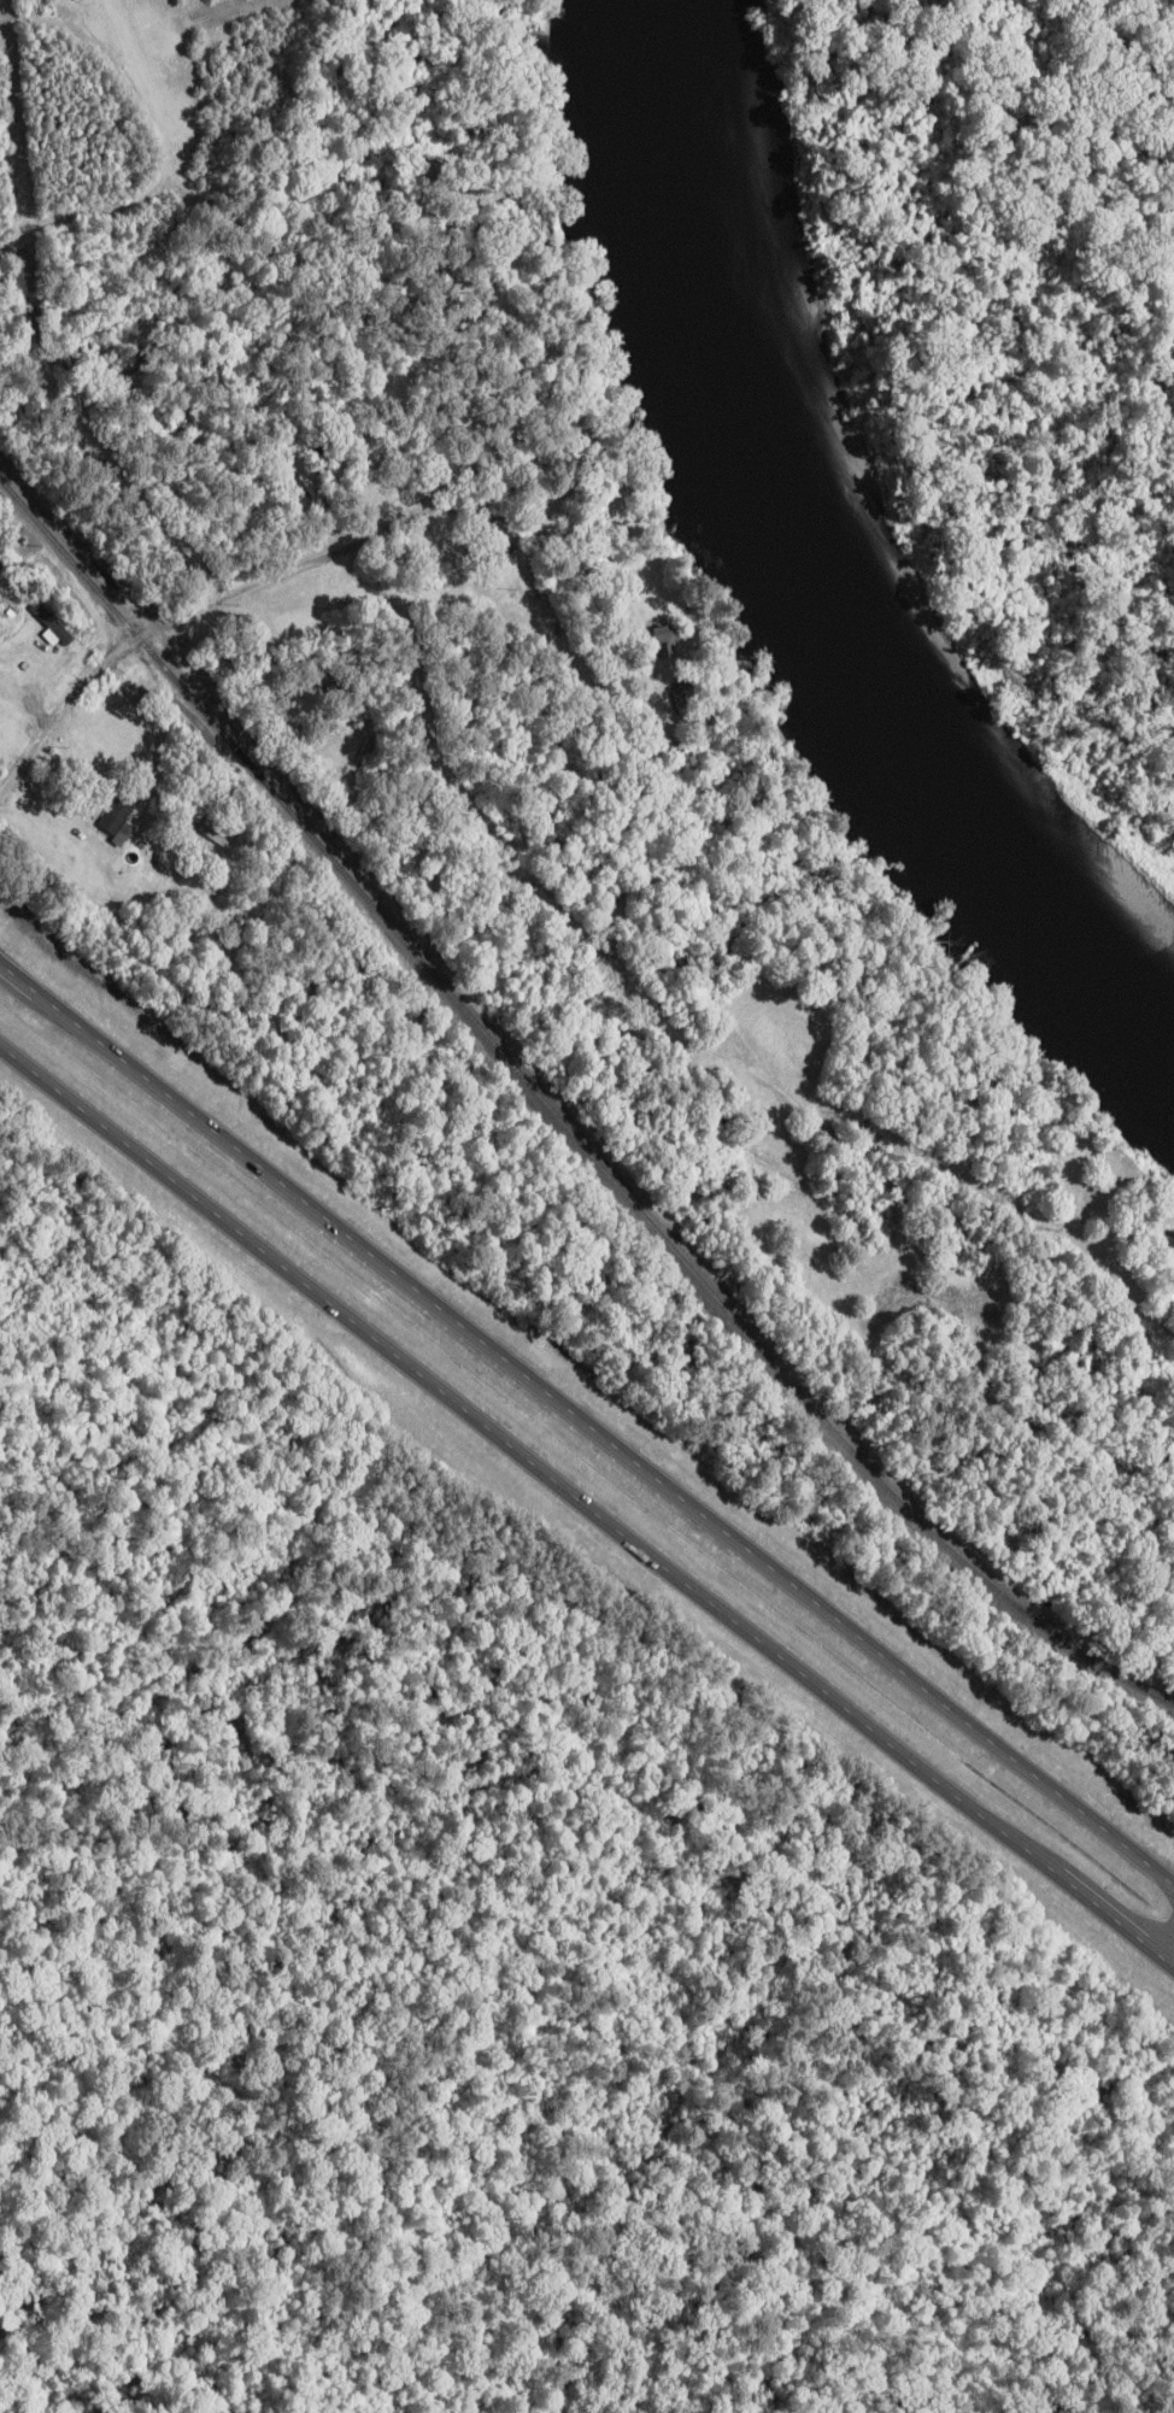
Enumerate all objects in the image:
building: (506, 523)
railway: (65, 553)
road: (262, 579)
river: (803, 594)
building: (55, 626)
building: (675, 638)
building: (123, 818)
building: (224, 830)
building: (1072, 1149)
railway: (624, 1196)
road: (587, 1428)
road: (587, 1507)
road: (1164, 1941)

